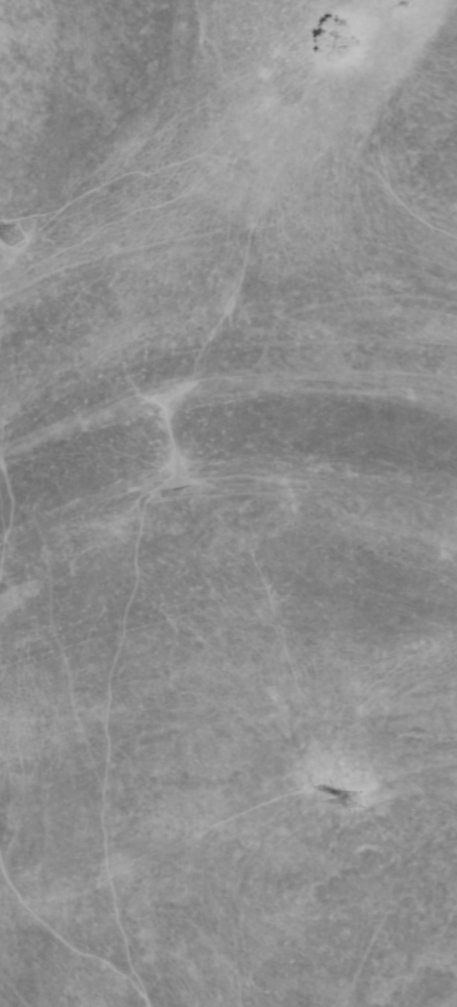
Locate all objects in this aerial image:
building: (12, 236)
power tower: (13, 237)
power tower: (354, 803)

